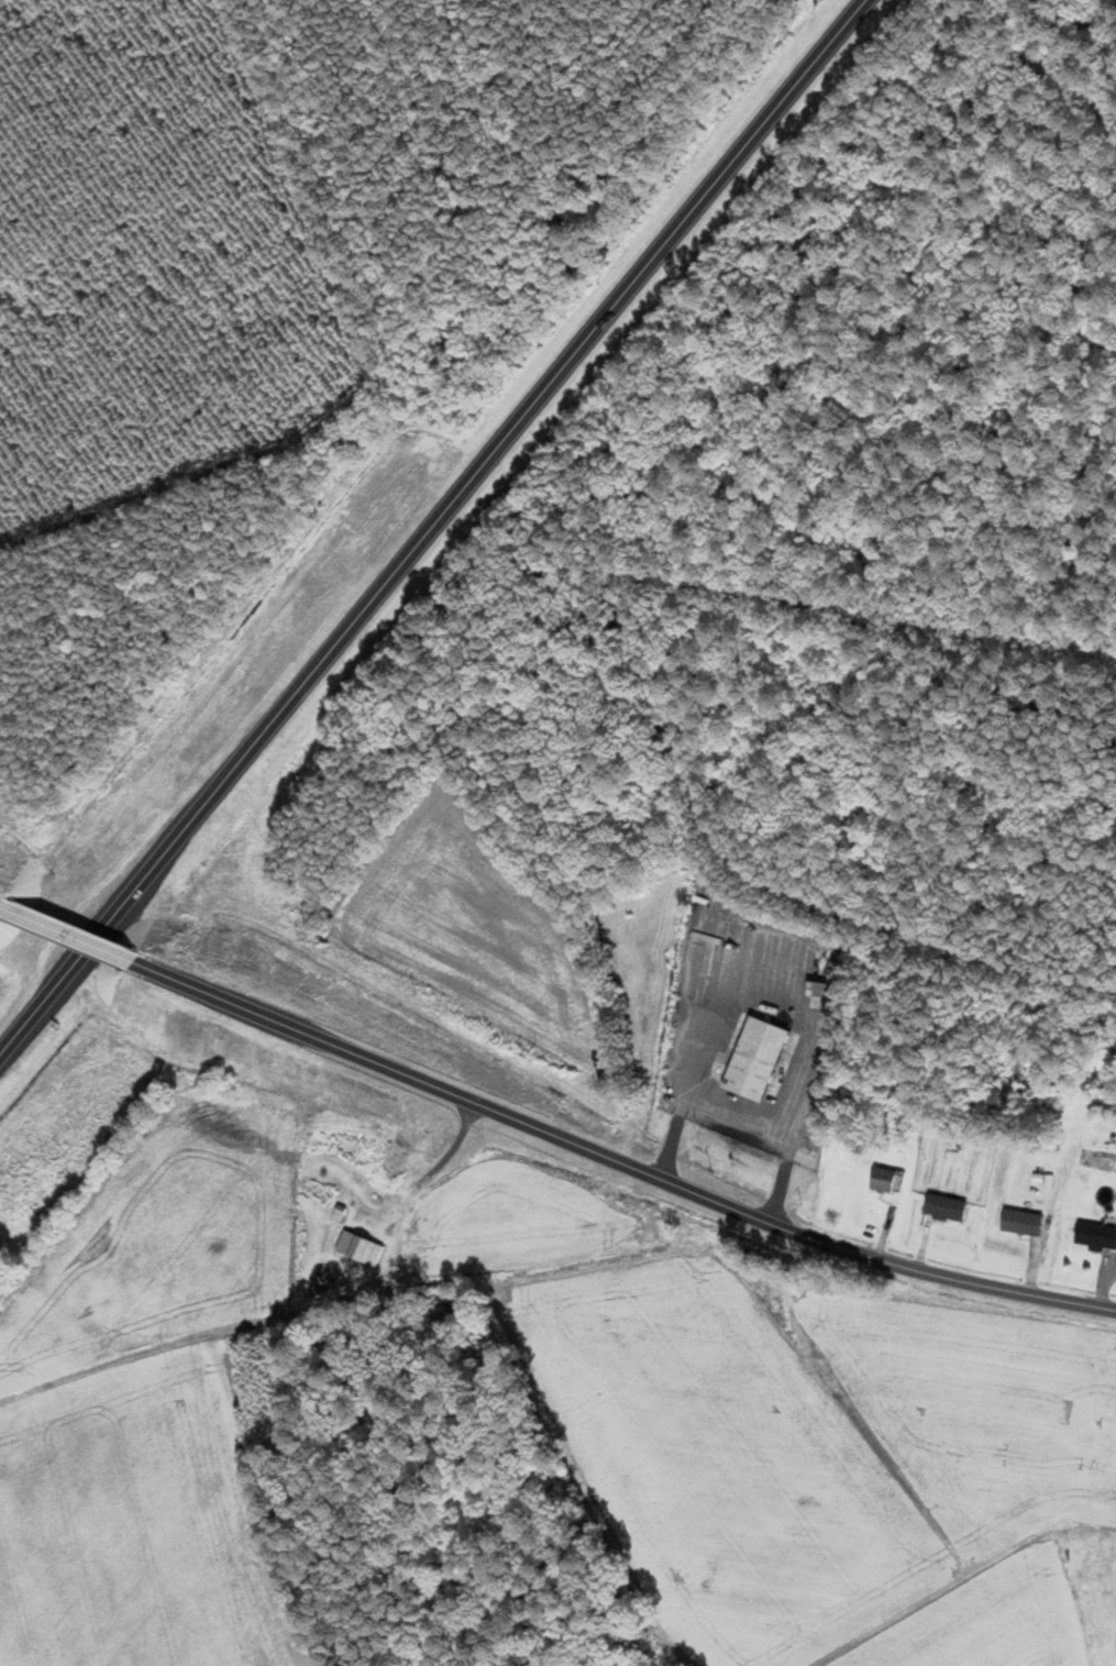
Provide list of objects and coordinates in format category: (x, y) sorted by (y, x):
road: (426, 523)
road: (915, 637)
road: (910, 907)
road: (65, 937)
building: (758, 1060)
building: (404, 1154)
road: (612, 1165)
building: (882, 1181)
building: (943, 1209)
building: (1019, 1223)
building: (1095, 1237)
building: (363, 1248)
building: (327, 1278)
building: (446, 1315)

